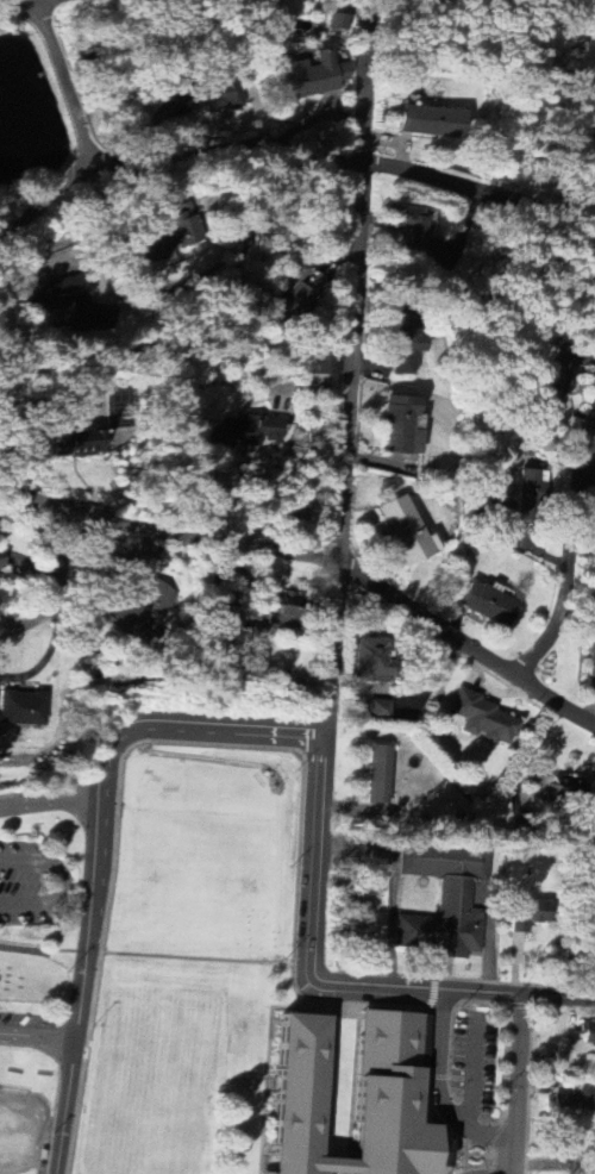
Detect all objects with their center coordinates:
road: (29, 8)
building: (337, 24)
building: (314, 76)
road: (61, 87)
building: (213, 99)
building: (430, 123)
road: (175, 145)
road: (480, 196)
building: (409, 232)
building: (173, 236)
building: (300, 294)
building: (52, 299)
road: (187, 326)
building: (403, 346)
building: (321, 367)
building: (397, 424)
building: (244, 431)
building: (74, 443)
road: (344, 491)
road: (20, 498)
building: (530, 498)
building: (403, 531)
road: (184, 550)
building: (7, 557)
road: (568, 577)
road: (57, 586)
building: (488, 606)
building: (142, 607)
building: (283, 611)
building: (251, 624)
road: (466, 648)
building: (591, 658)
building: (372, 662)
building: (286, 680)
building: (23, 708)
building: (378, 711)
building: (484, 722)
building: (377, 775)
building: (568, 789)
road: (50, 800)
road: (98, 844)
road: (63, 882)
building: (446, 901)
building: (530, 914)
road: (43, 950)
road: (199, 958)
road: (451, 991)
building: (588, 1035)
road: (38, 1042)
park: (155, 1079)
road: (516, 1085)
road: (437, 1088)
building: (294, 1095)
building: (387, 1098)
building: (574, 1101)
road: (553, 1166)

